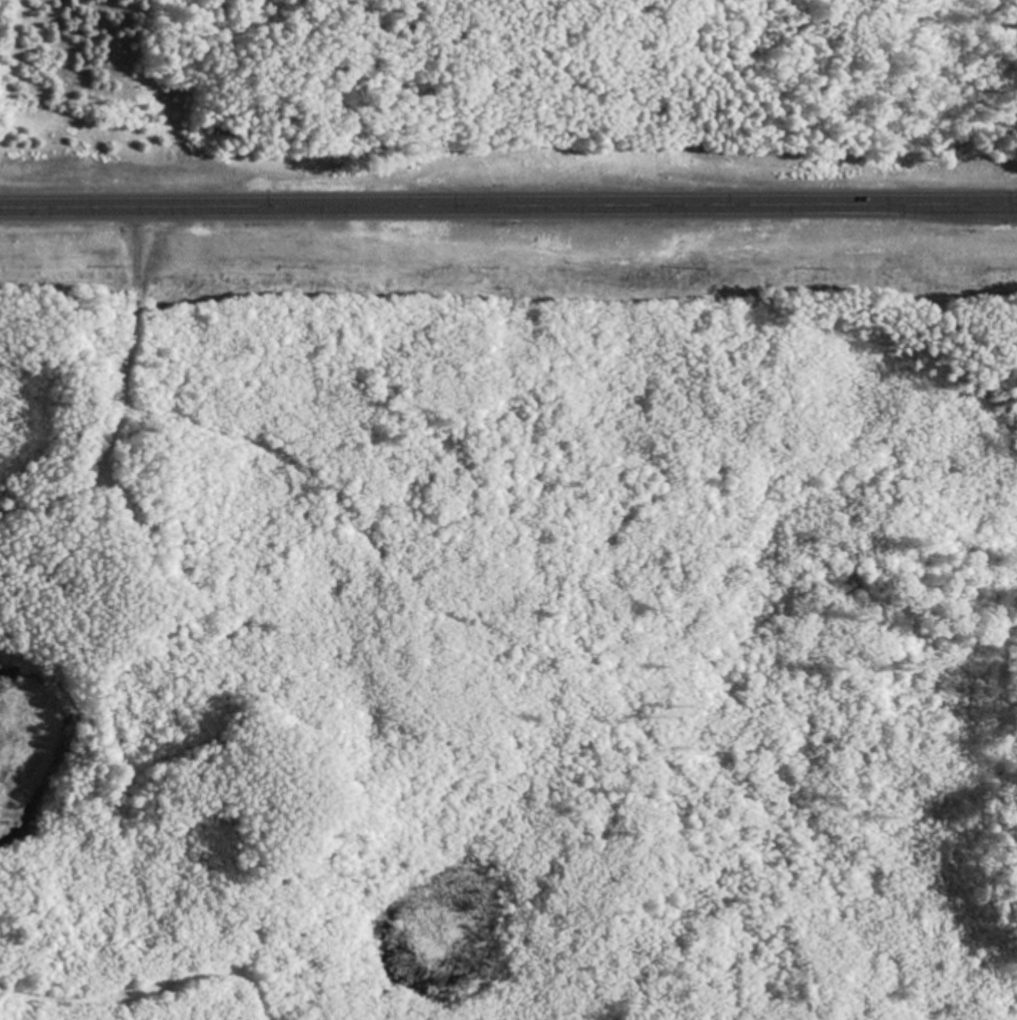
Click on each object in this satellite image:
road: (508, 201)

